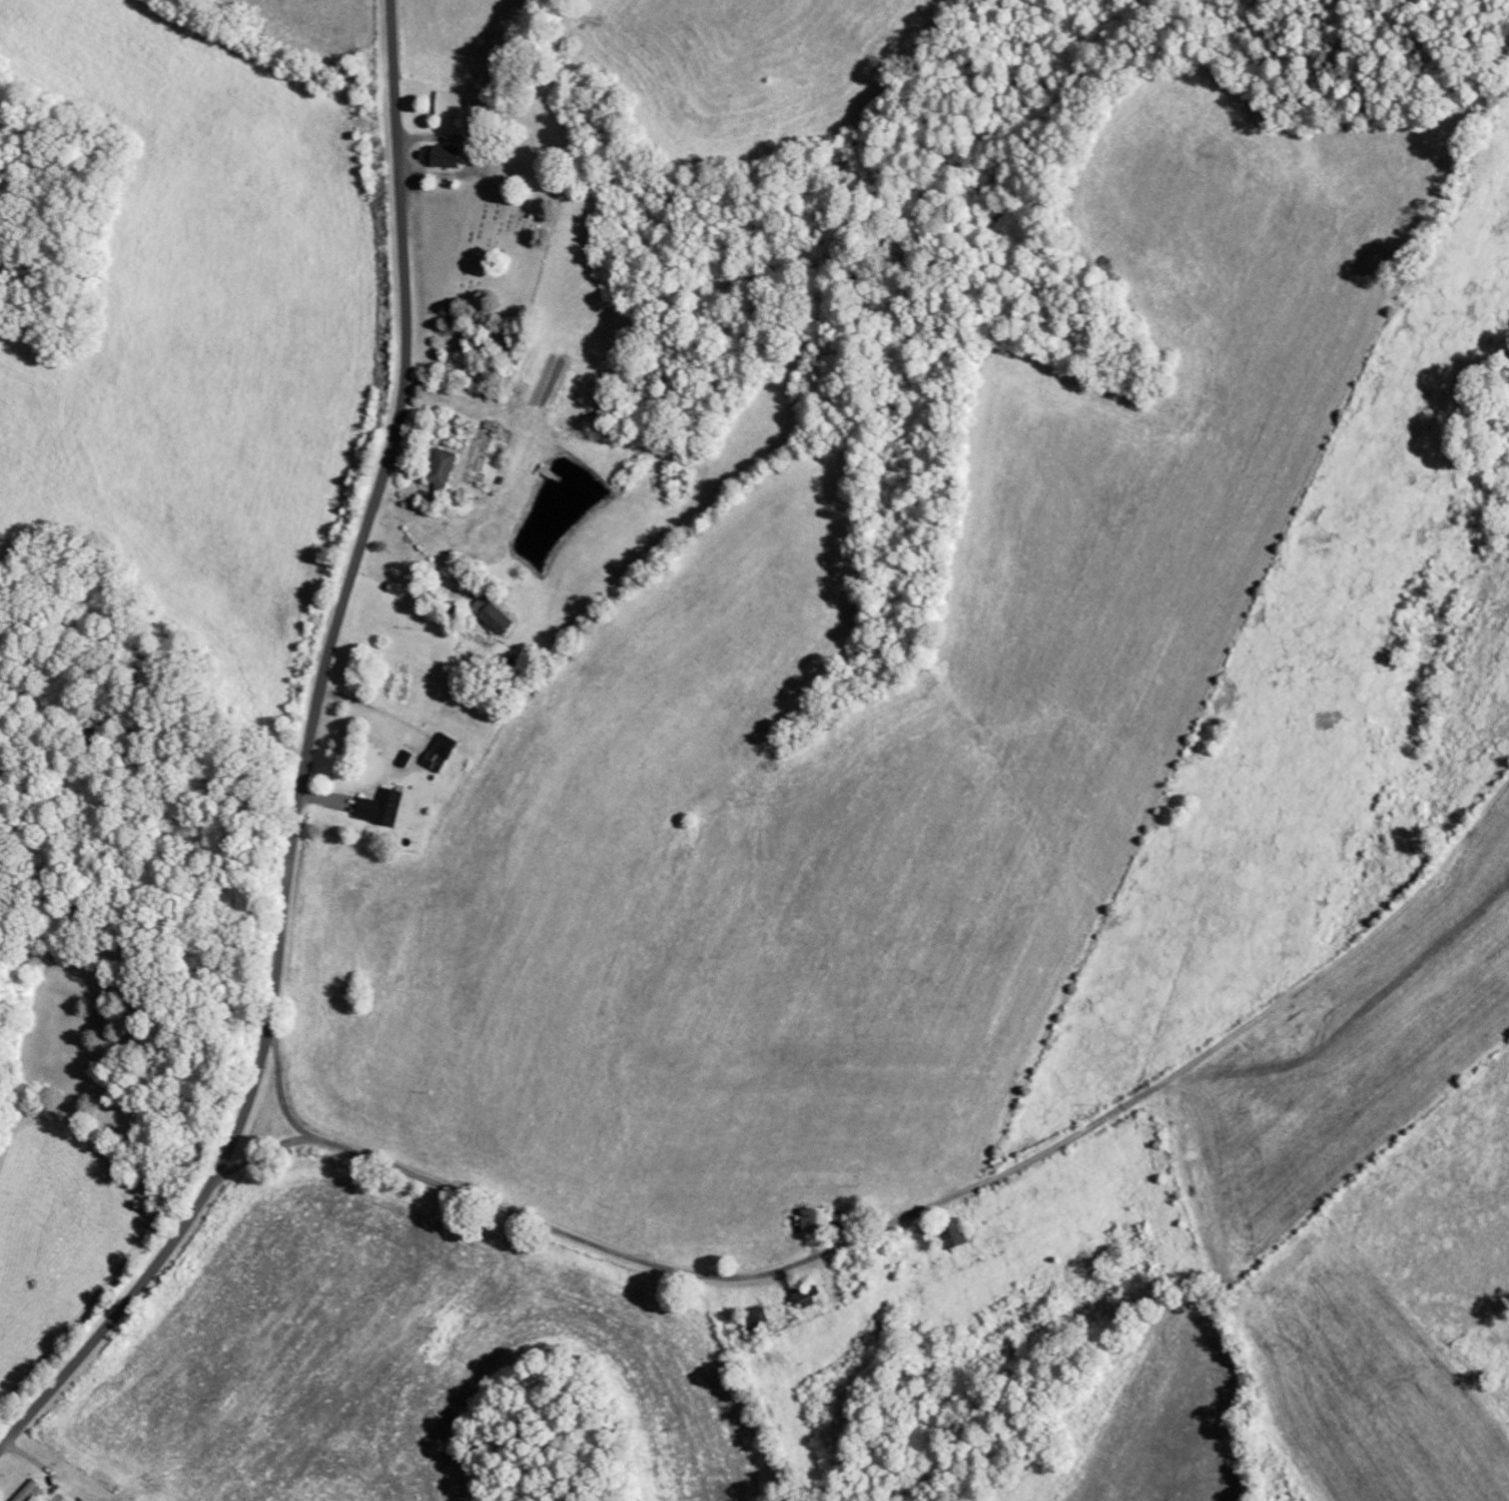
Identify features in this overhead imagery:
building: (451, 104)
building: (440, 155)
park: (501, 251)
building: (438, 466)
building: (487, 614)
road: (305, 762)
building: (376, 807)
road: (281, 1080)
building: (810, 1220)
building: (947, 1233)
road: (691, 1274)

